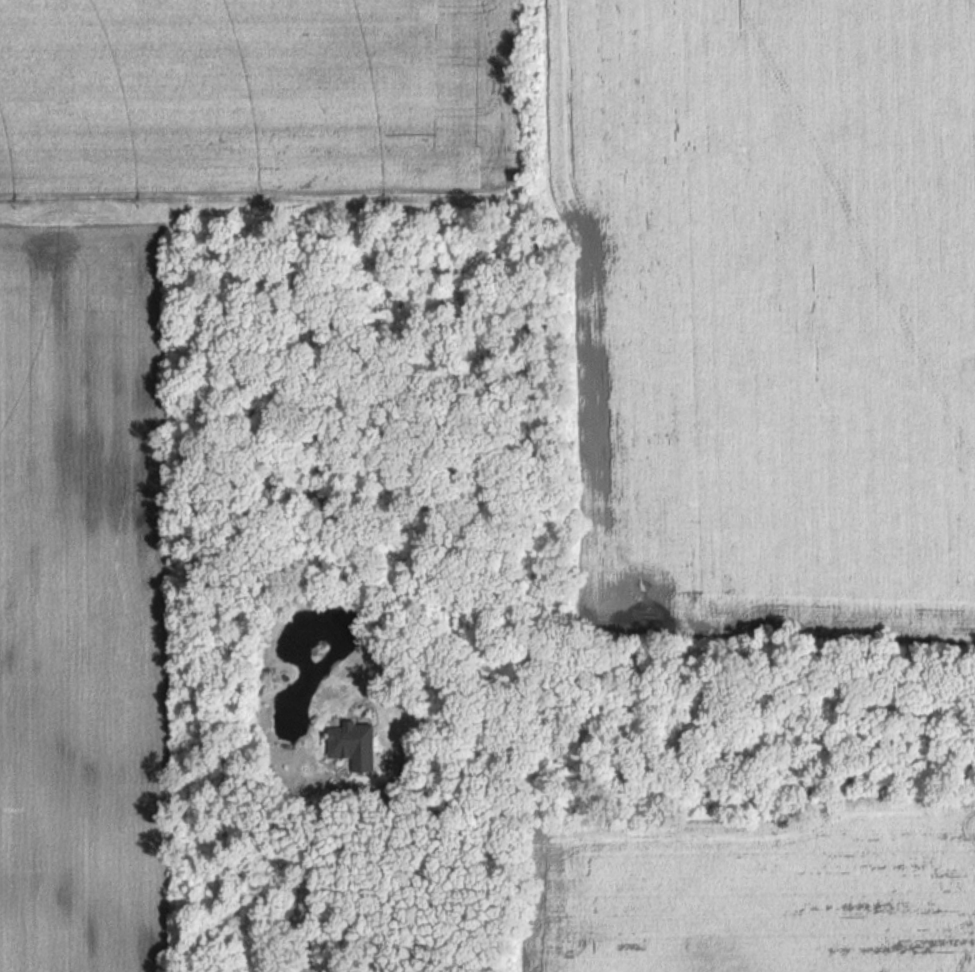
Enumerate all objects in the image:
road: (306, 886)

